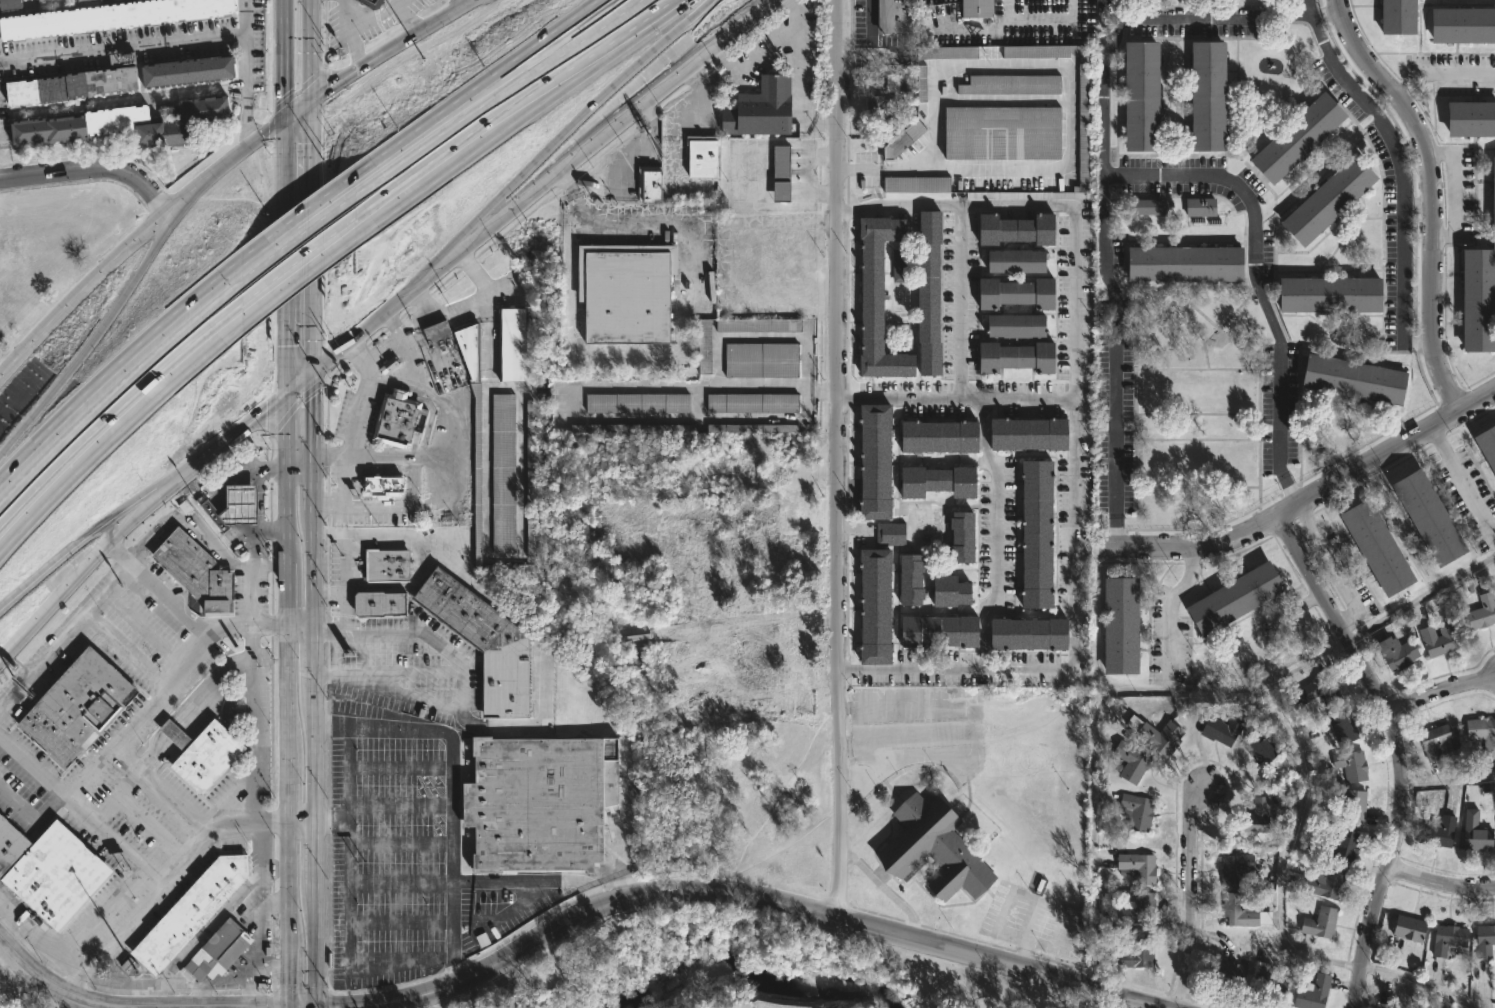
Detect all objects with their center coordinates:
building: (78, 0)
building: (40, 1)
building: (372, 3)
building: (10, 4)
road: (459, 4)
building: (979, 8)
road: (626, 9)
building: (108, 16)
road: (447, 16)
building: (897, 16)
building: (1397, 17)
road: (1210, 19)
road: (368, 22)
building: (1461, 24)
road: (868, 42)
road: (138, 44)
road: (571, 46)
road: (574, 50)
road: (308, 52)
road: (354, 52)
building: (949, 52)
road: (364, 68)
road: (245, 69)
building: (186, 71)
road: (1441, 72)
building: (78, 83)
building: (898, 83)
building: (924, 83)
building: (1013, 84)
road: (478, 89)
building: (1141, 95)
building: (1203, 95)
traffic signals: (308, 104)
building: (880, 108)
building: (763, 109)
road: (1069, 115)
road: (515, 117)
building: (1468, 118)
building: (185, 119)
traffic signals: (282, 122)
building: (79, 125)
road: (247, 125)
building: (1007, 132)
road: (442, 136)
building: (1085, 136)
building: (1293, 137)
building: (905, 139)
road: (282, 141)
road: (445, 148)
road: (309, 153)
building: (705, 155)
road: (1402, 160)
road: (89, 169)
building: (783, 173)
building: (919, 184)
building: (654, 186)
road: (1453, 189)
road: (1432, 194)
road: (525, 197)
building: (1323, 199)
building: (1143, 206)
building: (1196, 207)
road: (847, 210)
road: (299, 219)
road: (611, 223)
road: (145, 228)
building: (1017, 228)
road: (156, 233)
road: (299, 240)
road: (298, 257)
road: (1104, 258)
building: (1017, 260)
building: (897, 263)
building: (1184, 263)
road: (1254, 263)
road: (301, 279)
building: (1477, 282)
building: (930, 291)
building: (1016, 292)
road: (476, 293)
building: (629, 293)
road: (1073, 294)
building: (879, 297)
building: (1328, 297)
road: (958, 301)
road: (424, 320)
building: (1018, 325)
building: (758, 326)
building: (439, 332)
road: (315, 334)
road: (283, 341)
building: (510, 343)
road: (393, 344)
building: (471, 346)
building: (703, 347)
building: (1017, 356)
road: (80, 357)
building: (764, 360)
road: (117, 367)
traffic signals: (317, 371)
building: (1353, 378)
road: (116, 389)
road: (854, 398)
traffic signals: (283, 399)
road: (1477, 402)
building: (639, 403)
building: (754, 403)
road: (117, 407)
road: (352, 408)
building: (399, 420)
building: (752, 430)
building: (629, 432)
road: (283, 433)
building: (1029, 433)
building: (940, 436)
building: (1487, 444)
road: (123, 452)
road: (1, 454)
road: (836, 459)
road: (1369, 462)
building: (874, 463)
road: (299, 467)
building: (504, 473)
building: (478, 475)
building: (531, 479)
building: (938, 481)
building: (383, 484)
road: (1462, 484)
road: (316, 486)
road: (1287, 490)
road: (444, 493)
road: (259, 499)
road: (138, 501)
building: (233, 505)
building: (1428, 516)
road: (282, 517)
road: (131, 518)
building: (886, 532)
road: (1114, 532)
road: (994, 534)
building: (1037, 535)
building: (962, 536)
building: (1376, 545)
road: (1194, 553)
road: (119, 555)
road: (316, 565)
road: (265, 566)
building: (389, 566)
road: (1335, 567)
road: (128, 568)
building: (510, 569)
building: (197, 572)
road: (49, 576)
building: (911, 581)
road: (330, 590)
building: (950, 591)
road: (283, 595)
road: (344, 595)
road: (1420, 597)
building: (1229, 598)
building: (382, 604)
building: (875, 604)
building: (1479, 613)
road: (1168, 619)
road: (299, 624)
building: (1120, 627)
road: (145, 629)
building: (931, 630)
building: (1029, 633)
road: (420, 635)
road: (1073, 636)
building: (1435, 641)
building: (486, 644)
road: (126, 650)
road: (541, 650)
building: (1393, 653)
road: (315, 661)
road: (848, 670)
road: (383, 671)
road: (339, 672)
road: (252, 674)
road: (462, 690)
road: (1147, 690)
road: (1438, 690)
road: (285, 691)
building: (1316, 691)
building: (80, 707)
road: (136, 718)
road: (969, 723)
building: (1220, 729)
building: (1341, 729)
building: (1482, 735)
building: (1153, 736)
building: (1434, 742)
building: (1258, 750)
road: (1396, 750)
building: (201, 752)
road: (315, 758)
building: (1129, 761)
building: (1346, 767)
road: (1447, 782)
road: (453, 787)
building: (1282, 787)
road: (159, 788)
road: (287, 790)
building: (539, 803)
building: (1352, 806)
road: (80, 811)
building: (1135, 811)
road: (326, 819)
road: (301, 820)
road: (31, 821)
building: (1250, 821)
building: (1435, 832)
building: (1474, 834)
building: (1343, 845)
building: (937, 847)
road: (315, 852)
road: (1281, 866)
building: (1136, 867)
building: (1235, 869)
building: (51, 870)
road: (544, 878)
road: (162, 881)
building: (1320, 881)
road: (1439, 884)
road: (288, 885)
road: (885, 888)
road: (746, 894)
road: (1189, 897)
road: (338, 900)
road: (274, 903)
building: (1136, 908)
building: (193, 911)
building: (1239, 911)
road: (102, 913)
building: (1317, 922)
building: (1406, 927)
road: (39, 937)
building: (1446, 938)
building: (1483, 940)
road: (314, 946)
building: (221, 949)
building: (1135, 952)
road: (274, 961)
park: (751, 972)
building: (1227, 973)
road: (288, 978)
building: (1265, 979)
road: (245, 983)
traffic signals: (288, 983)
road: (1418, 983)
building: (1310, 993)
road: (252, 995)
road: (197, 996)
building: (1382, 1005)
road: (125, 1006)
traffic signals: (271, 1007)
traffic signals: (332, 1007)

